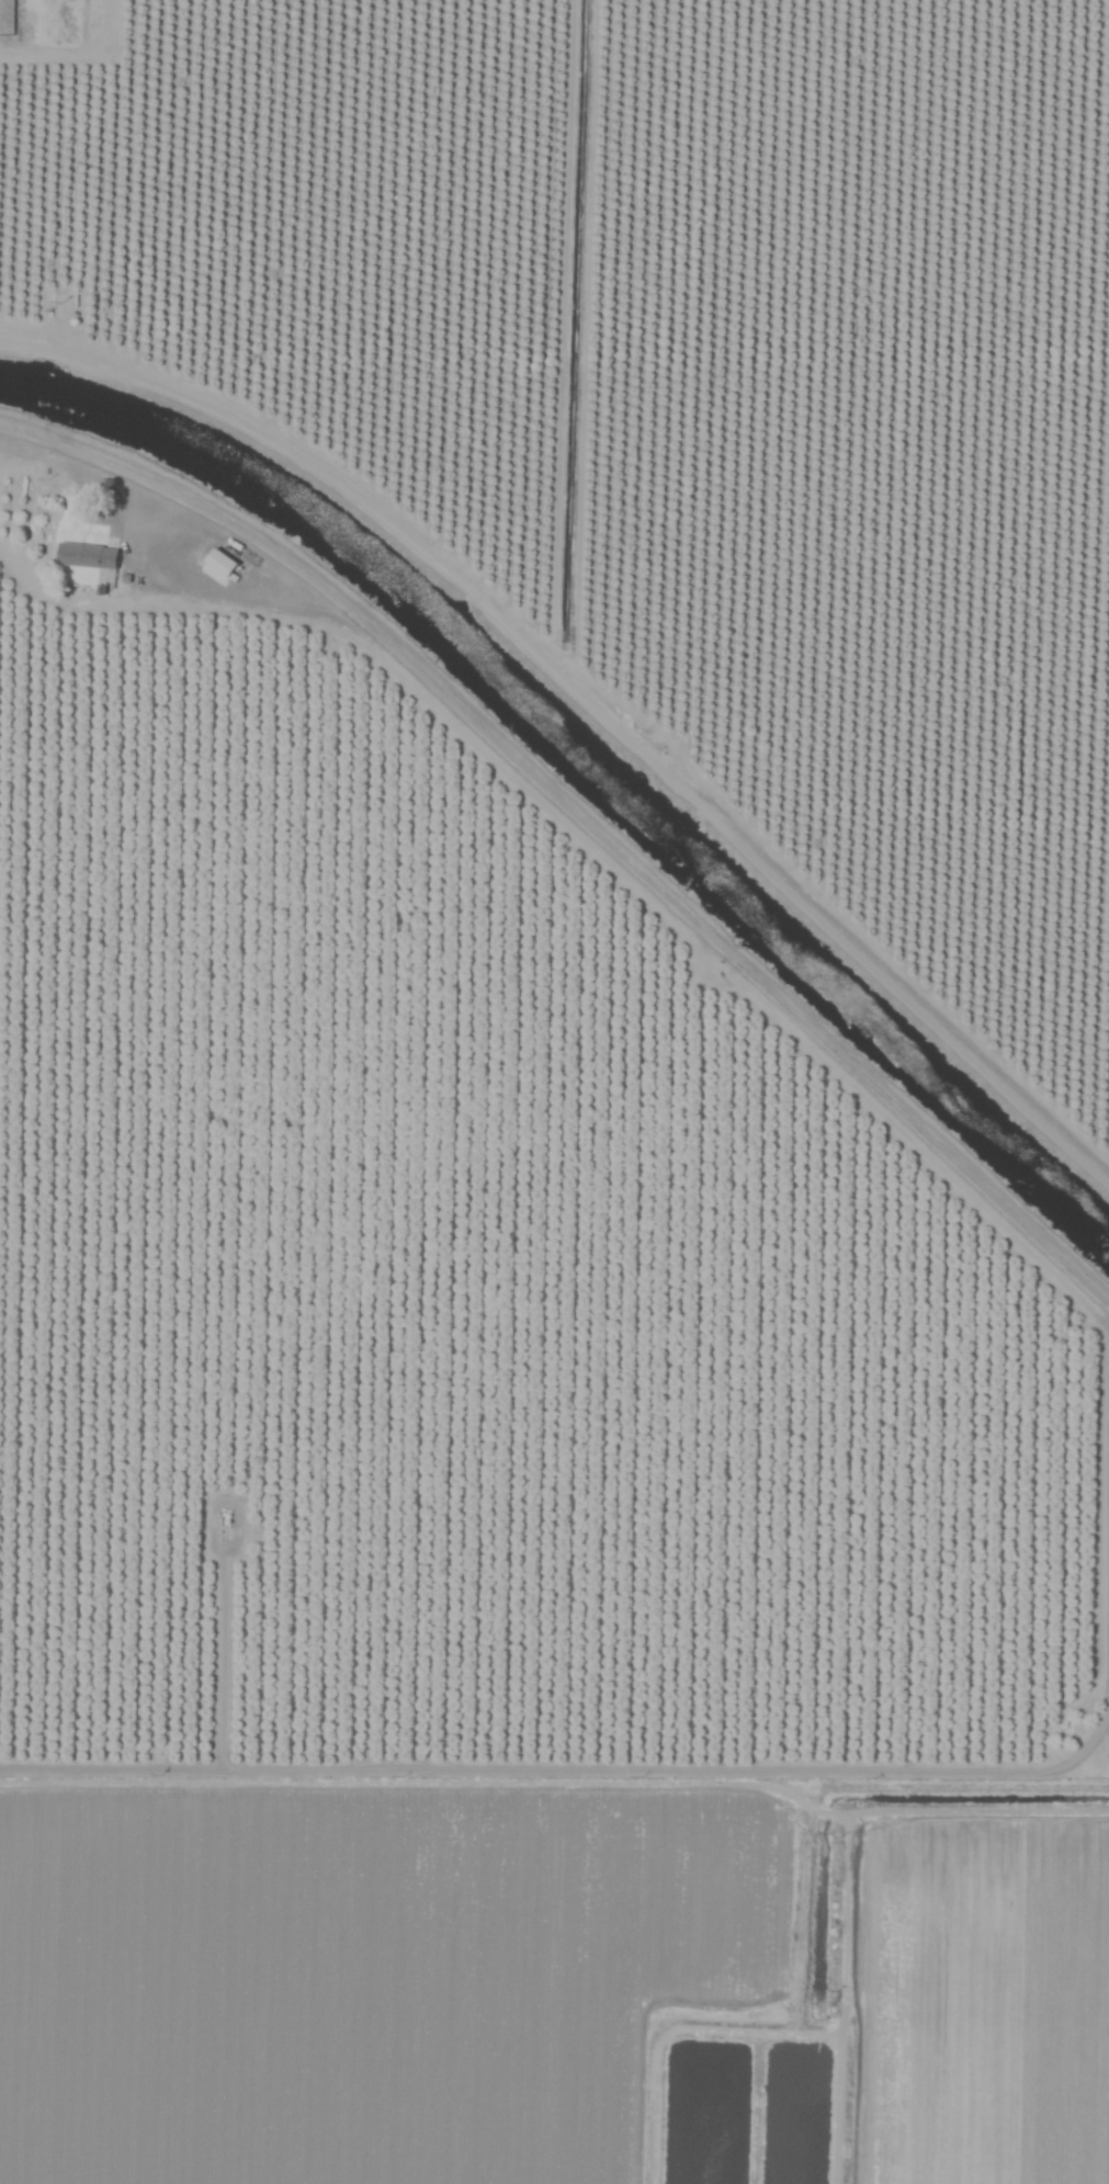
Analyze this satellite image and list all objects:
building: (86, 556)
building: (220, 564)
road: (582, 815)
crop: (554, 1091)

